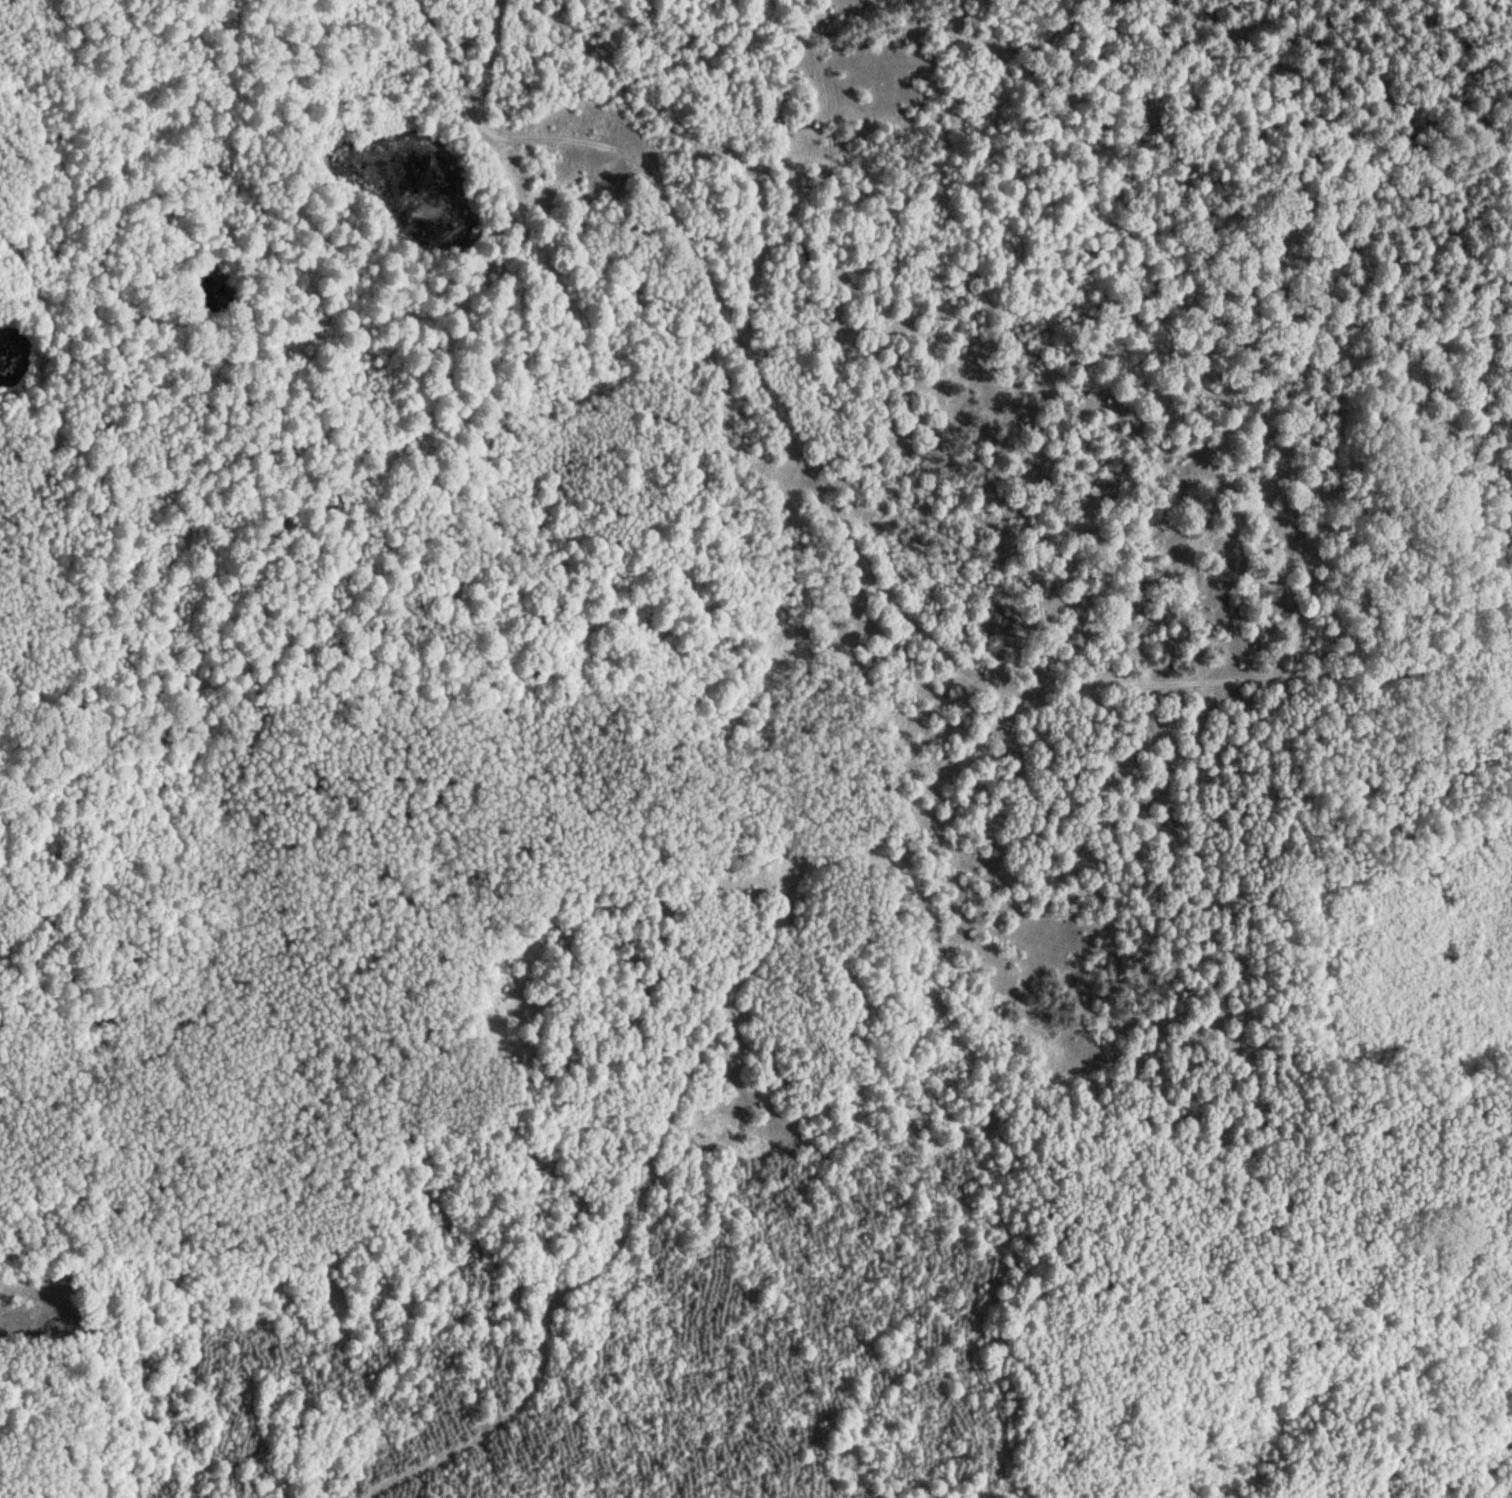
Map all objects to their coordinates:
road: (1319, 78)

